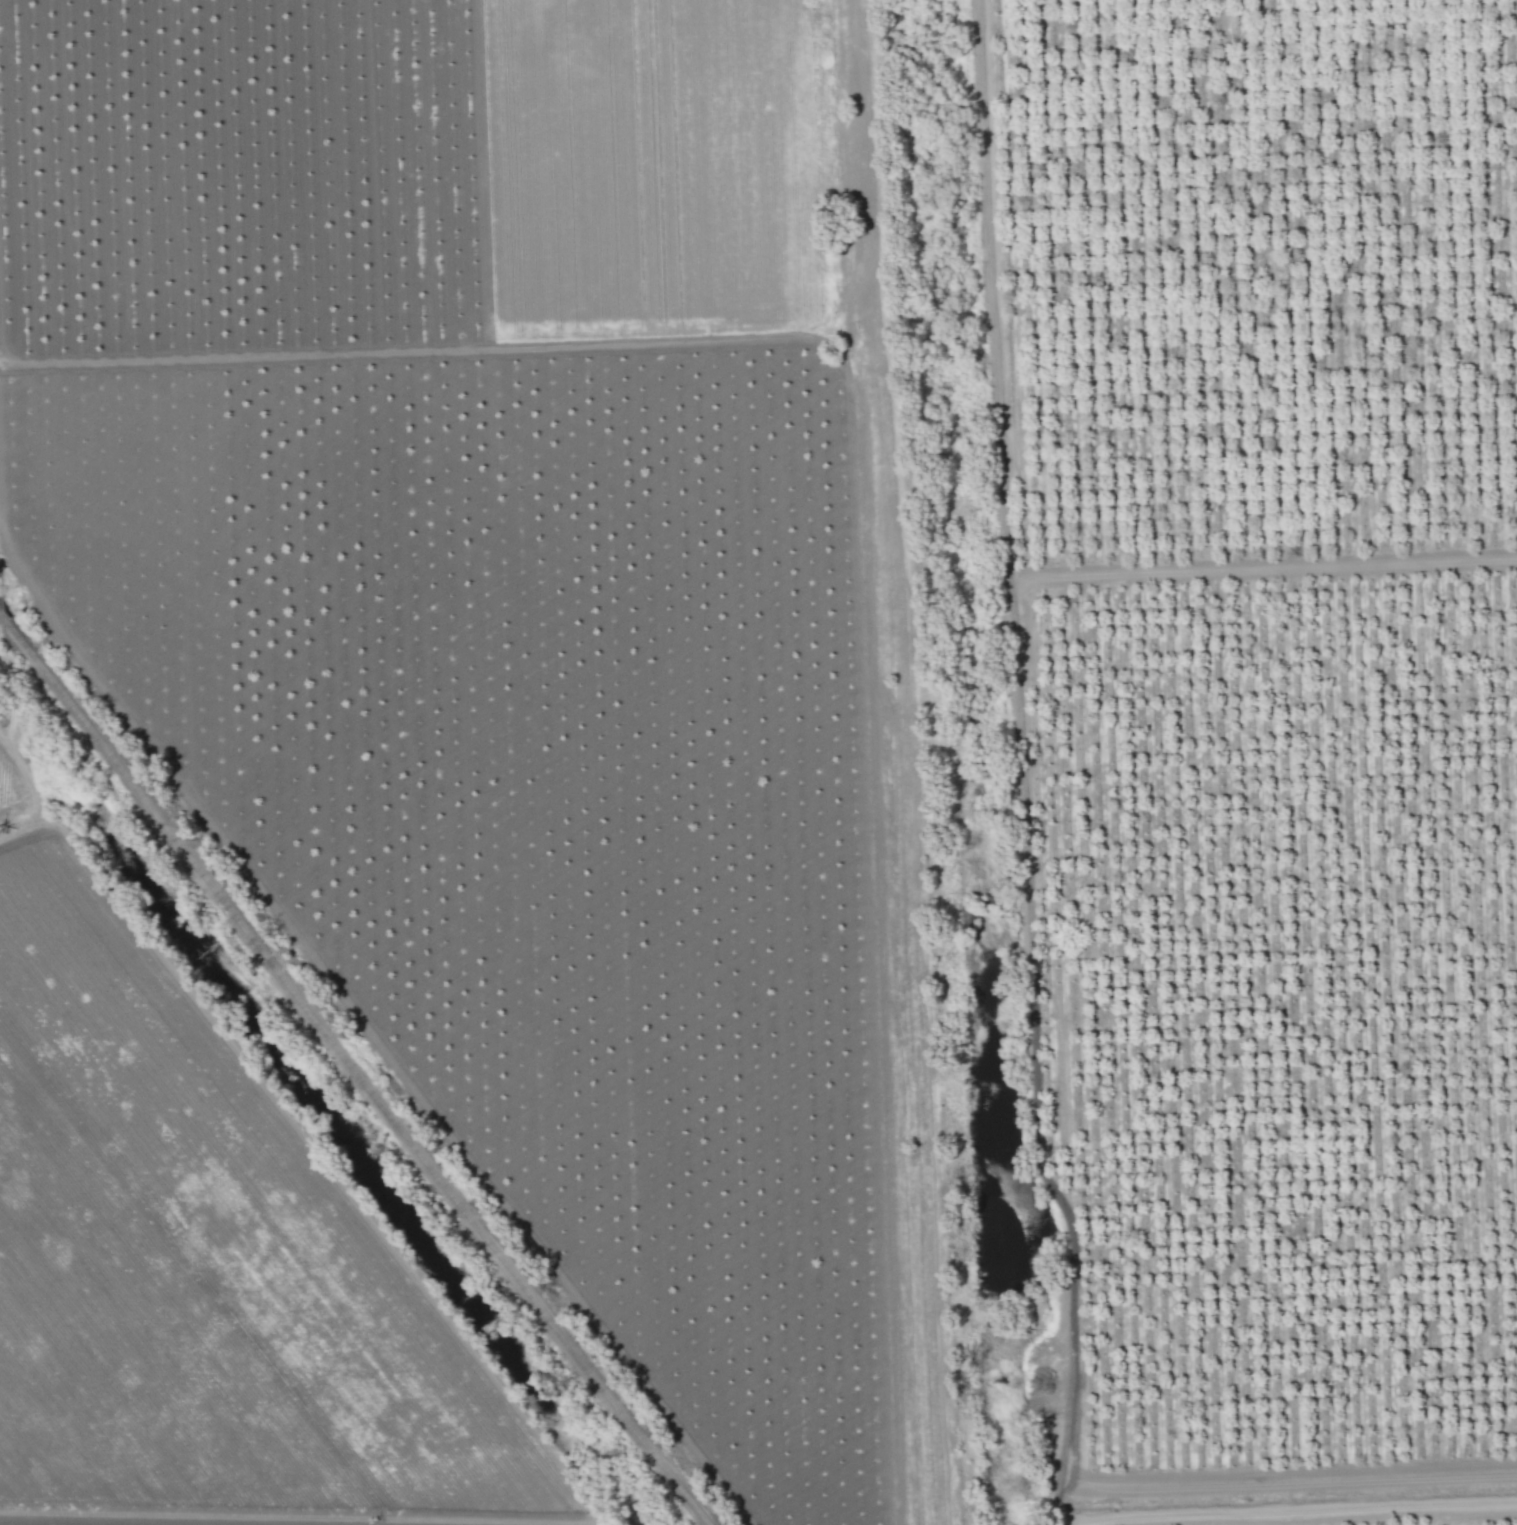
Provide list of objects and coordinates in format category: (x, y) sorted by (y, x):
crop: (1255, 738)
crop: (446, 779)
railway: (355, 1067)

